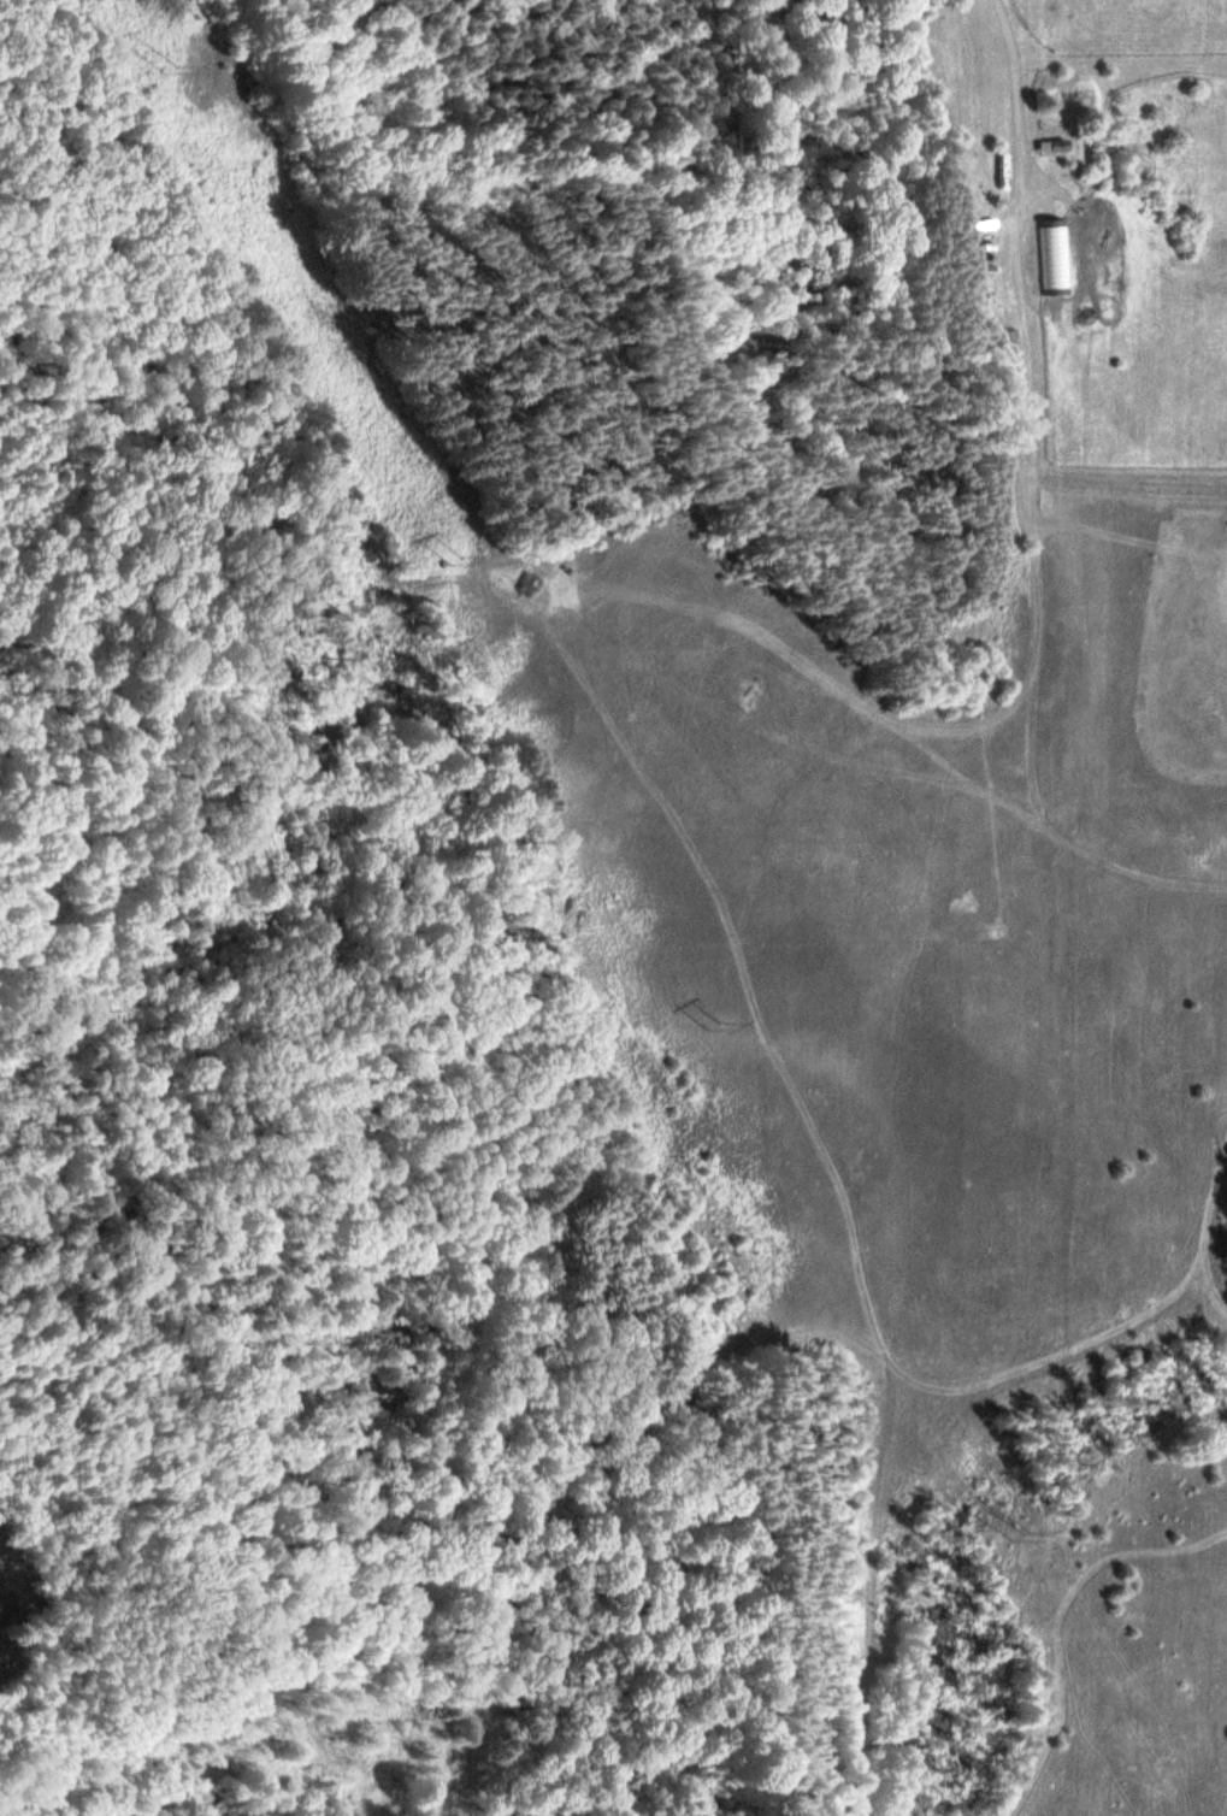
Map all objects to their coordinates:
building: (1215, 525)
building: (1209, 684)

